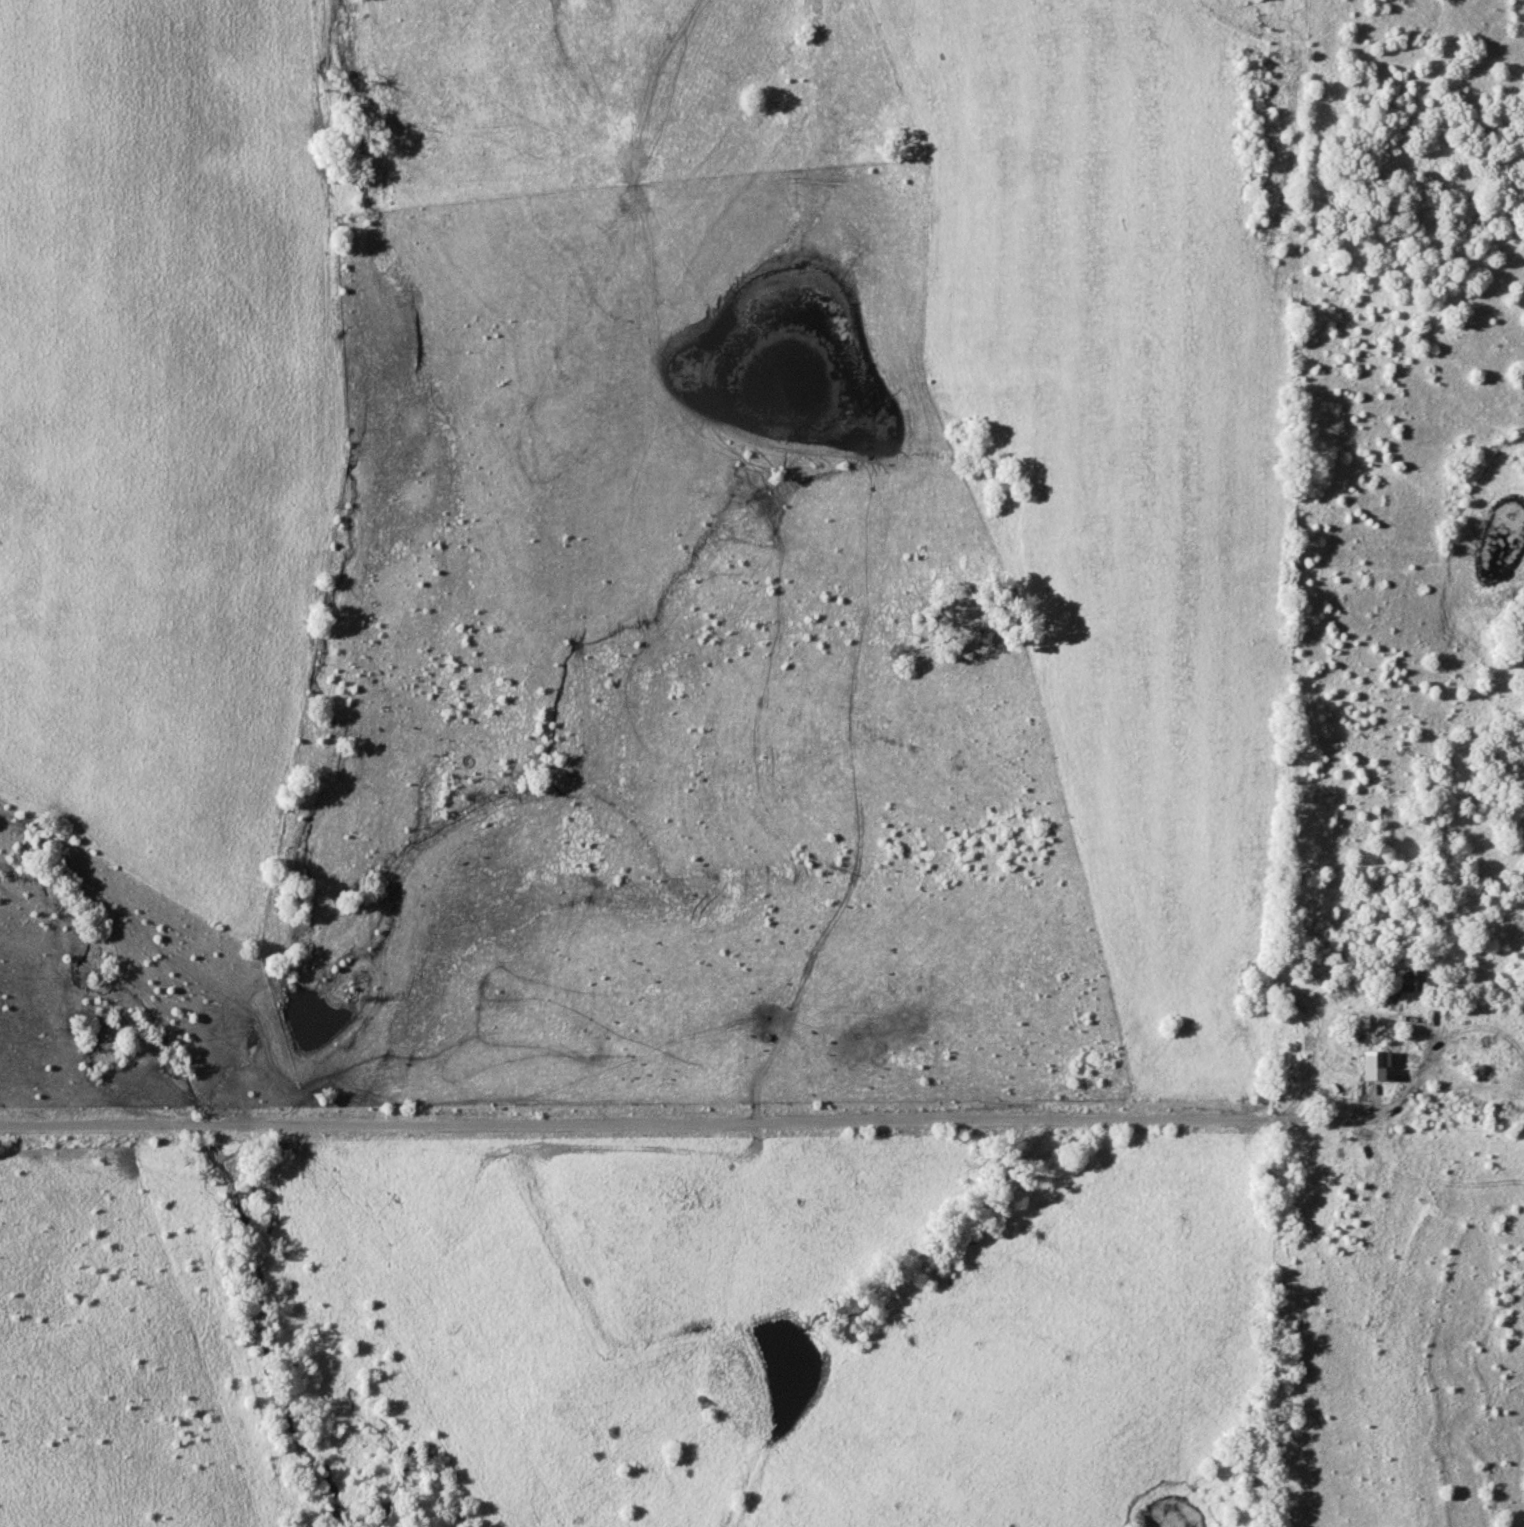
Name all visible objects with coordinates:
building: (1406, 982)
road: (621, 1124)

